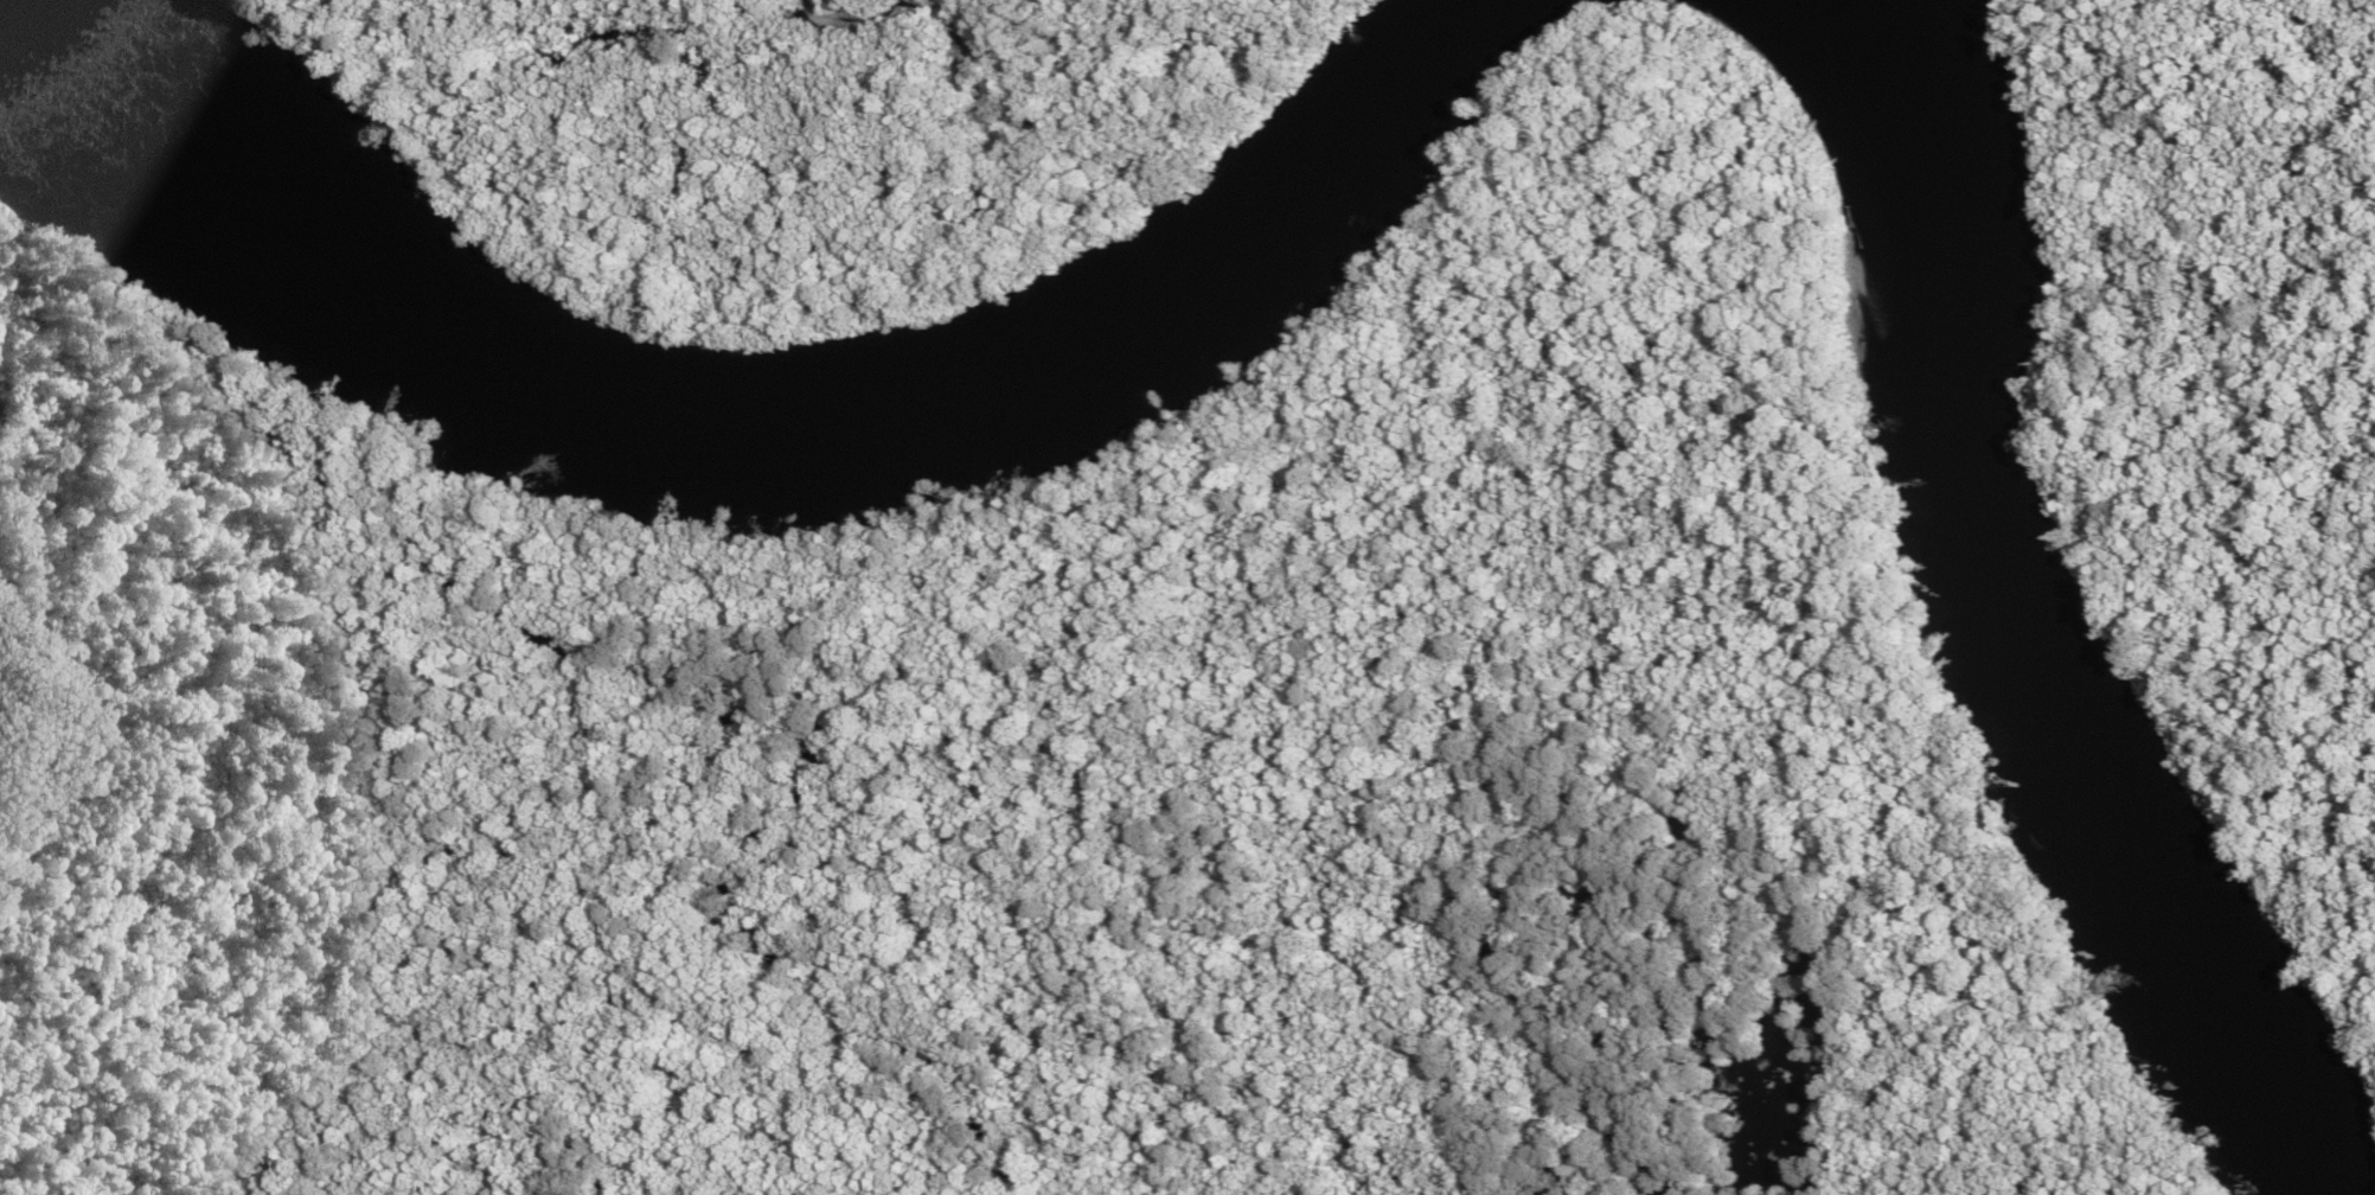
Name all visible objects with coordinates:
dam: (40, 30)
river: (755, 405)
river: (2018, 614)

